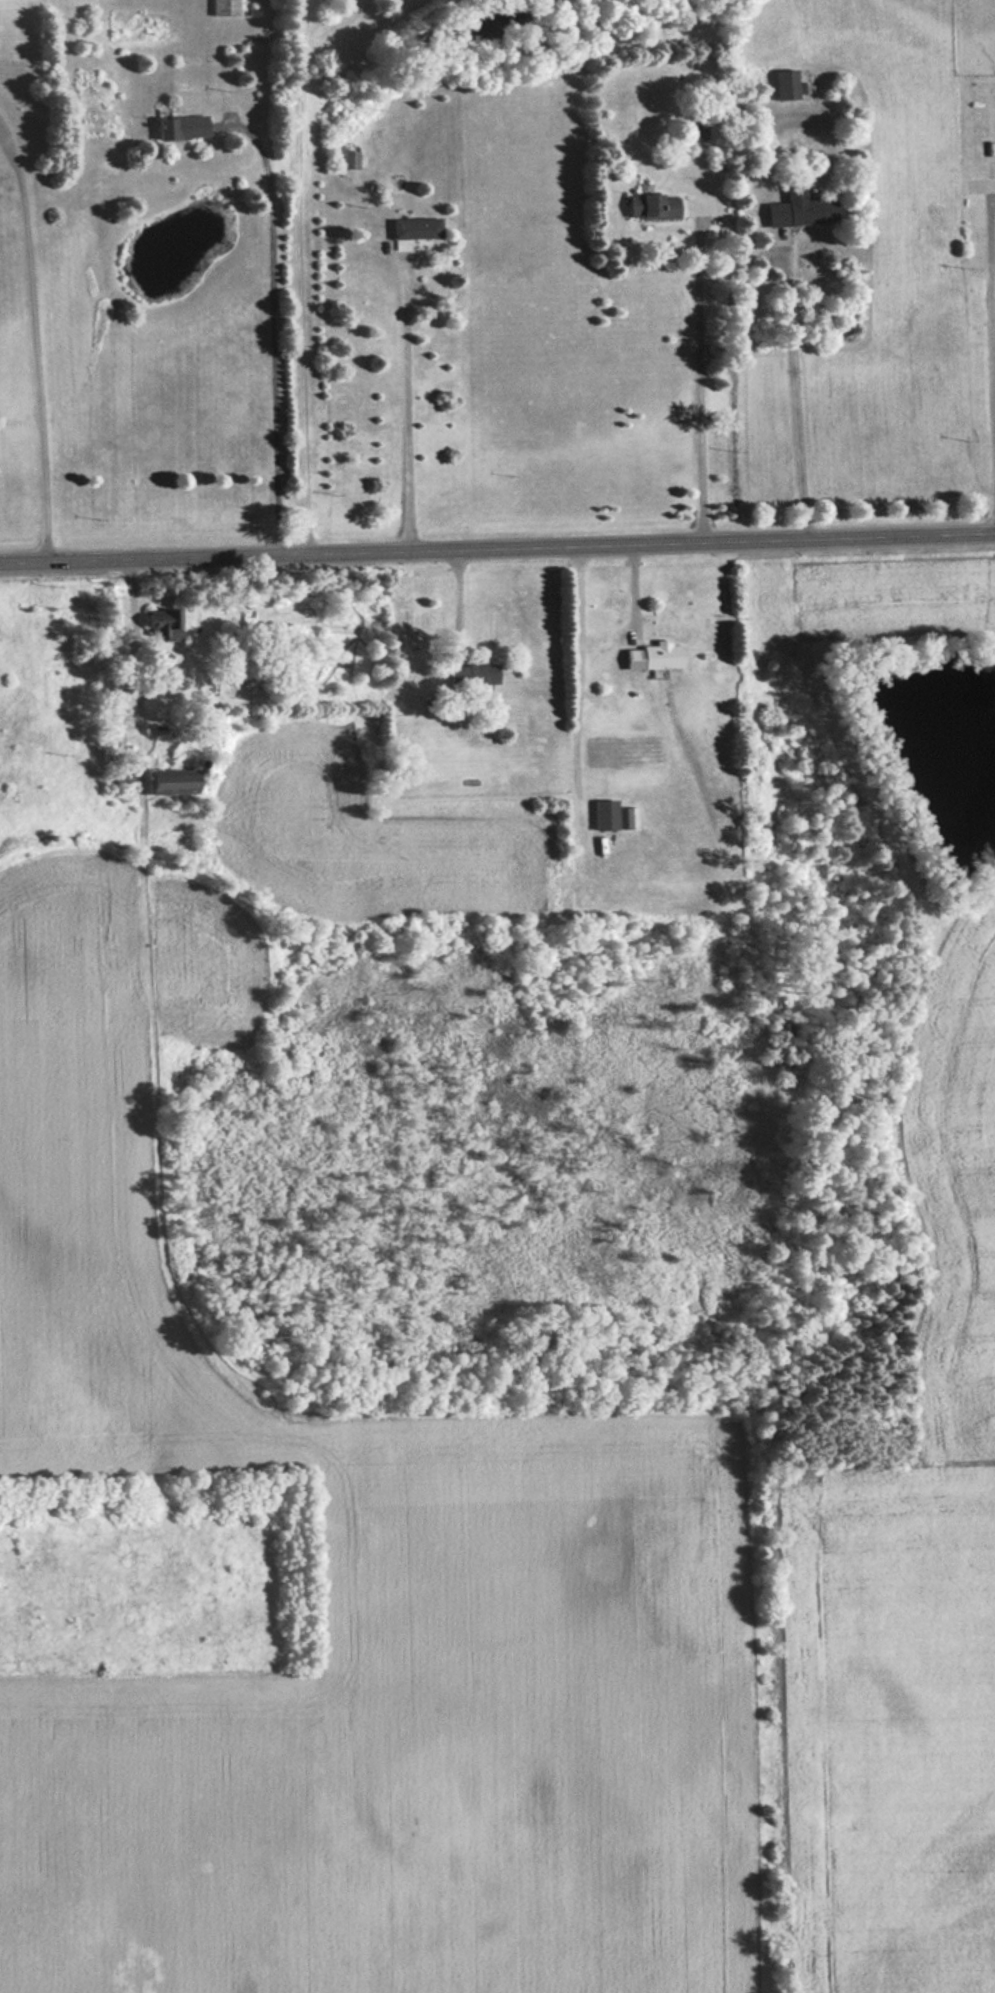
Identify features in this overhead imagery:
building: (224, 8)
building: (786, 85)
building: (182, 128)
building: (697, 129)
building: (350, 160)
building: (654, 207)
building: (800, 207)
building: (417, 228)
road: (497, 542)
building: (163, 620)
building: (656, 655)
building: (474, 673)
building: (175, 783)
building: (606, 813)

